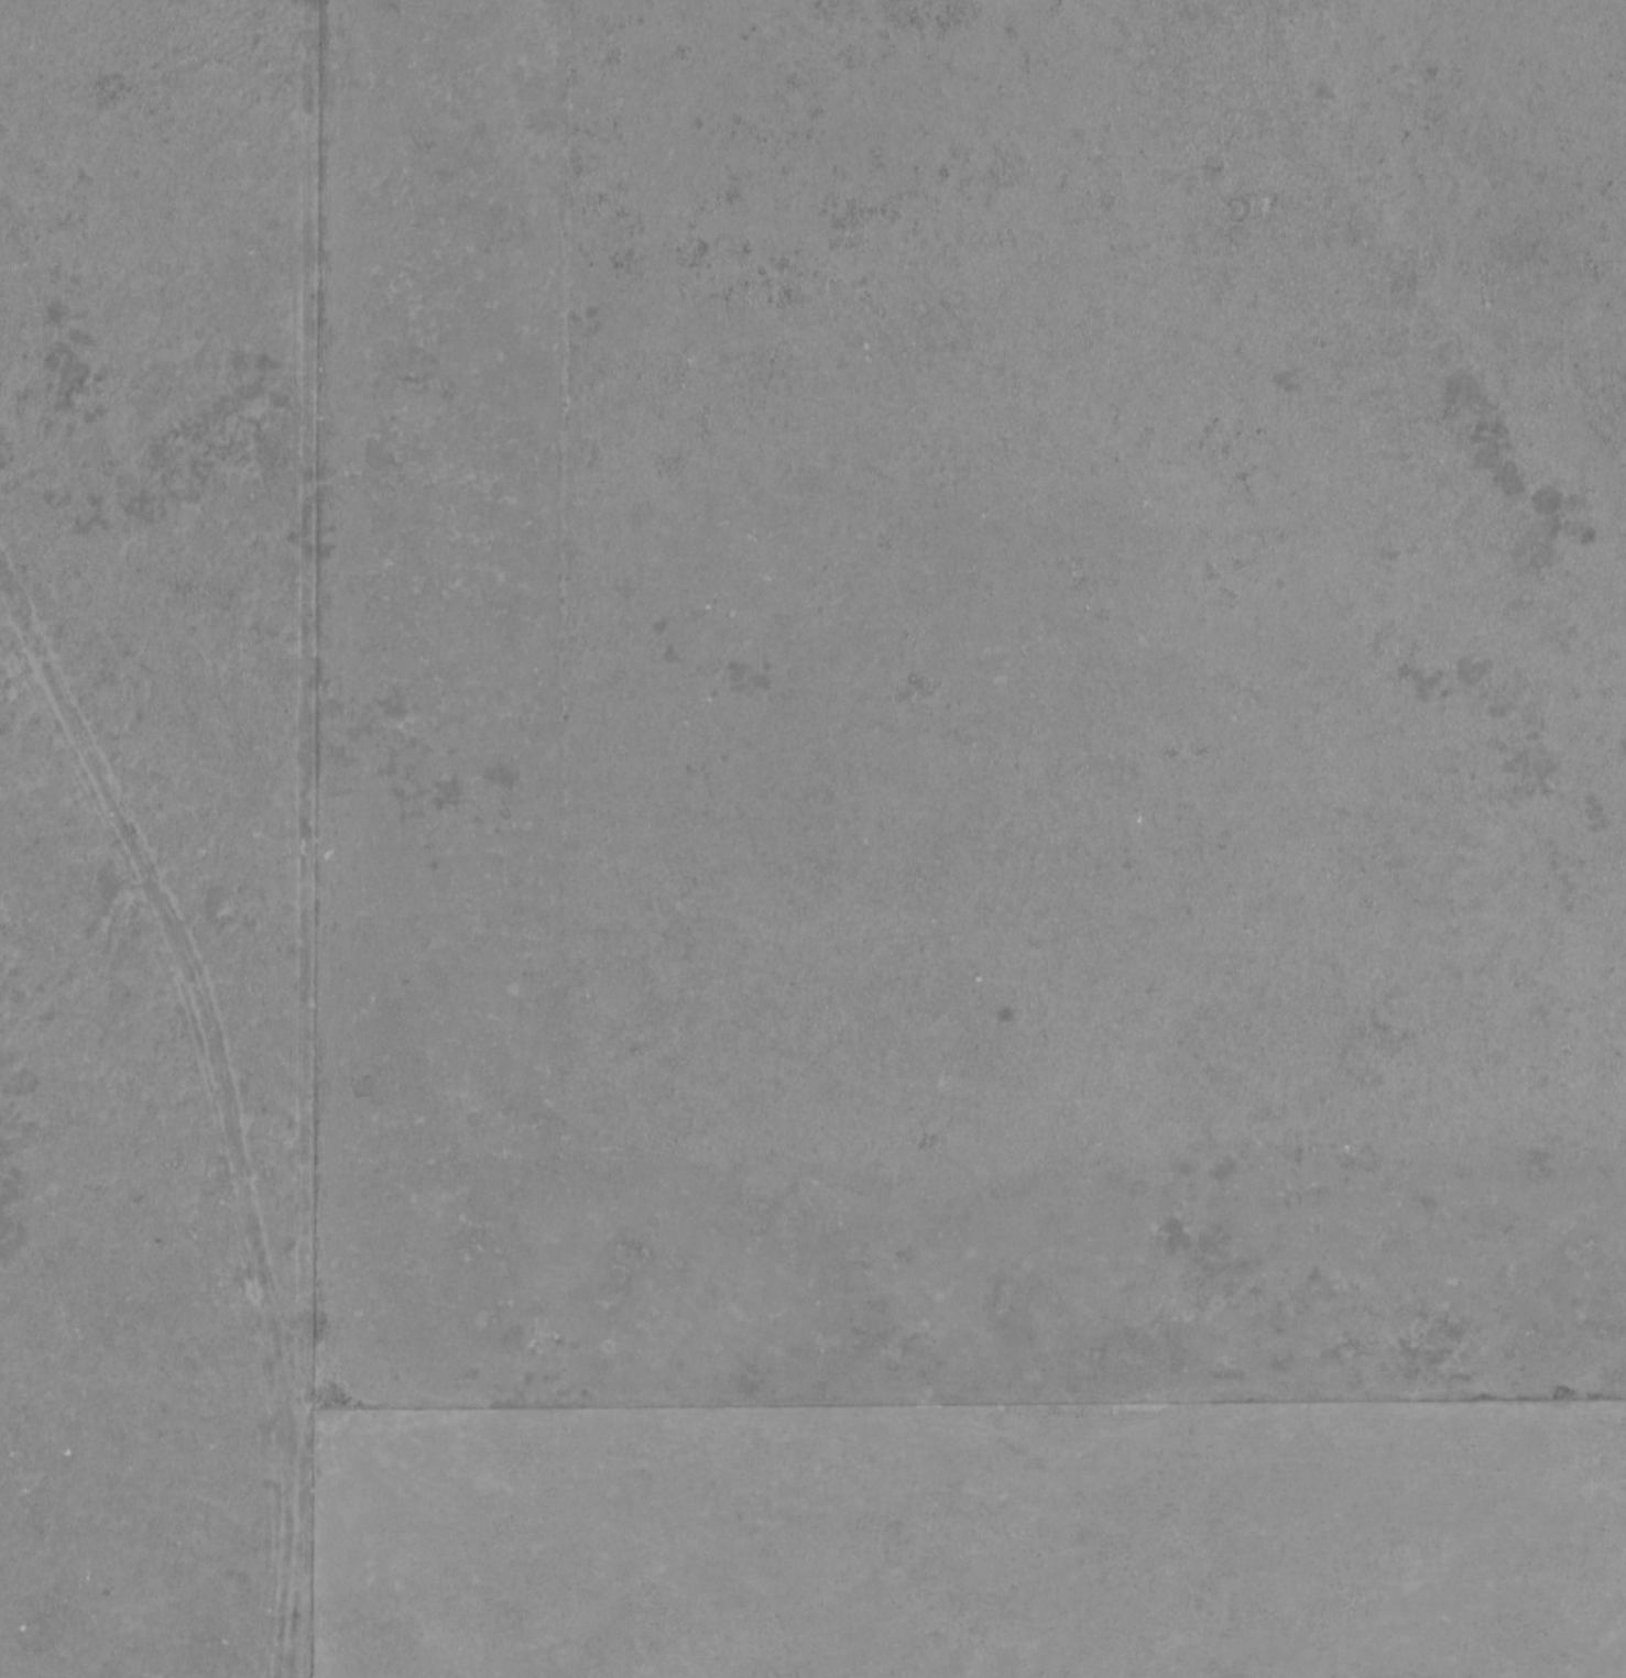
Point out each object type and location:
road: (277, 838)

